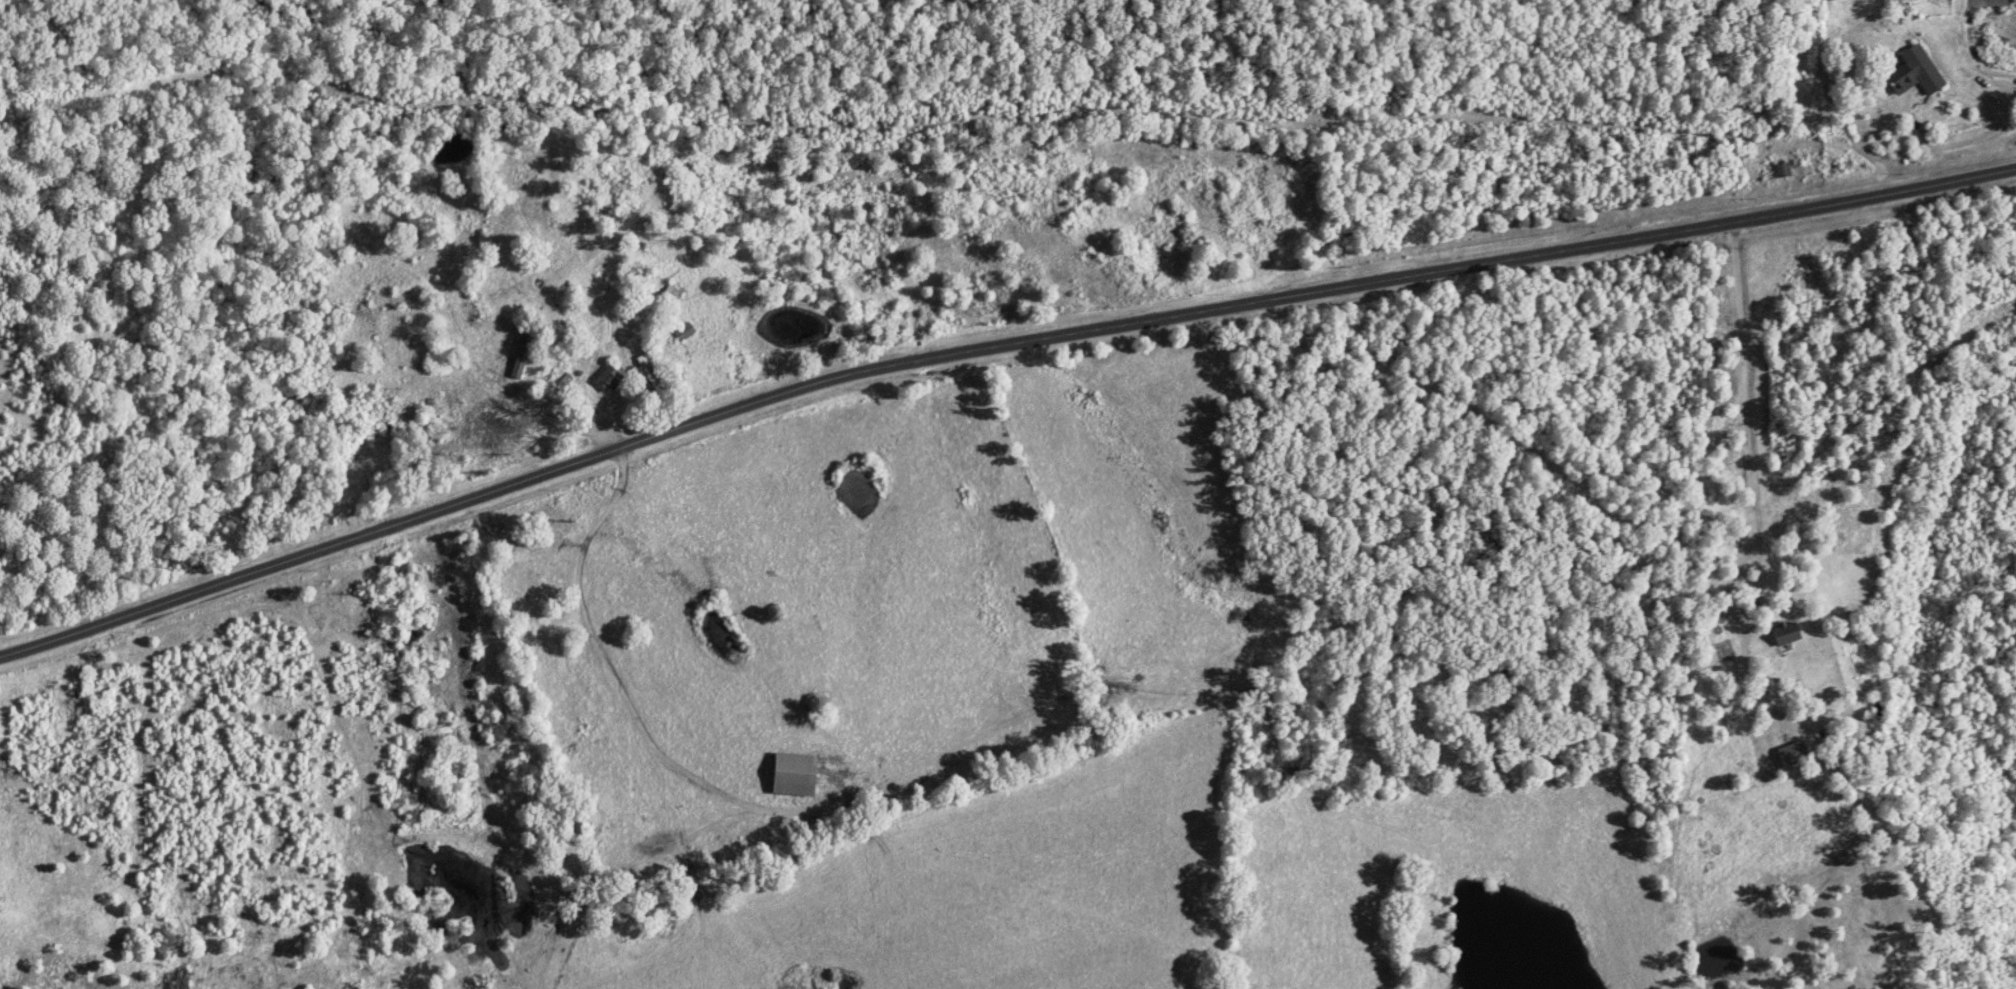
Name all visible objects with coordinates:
building: (1916, 73)
road: (991, 348)
building: (607, 379)
building: (1785, 634)
building: (1792, 754)
building: (793, 775)

